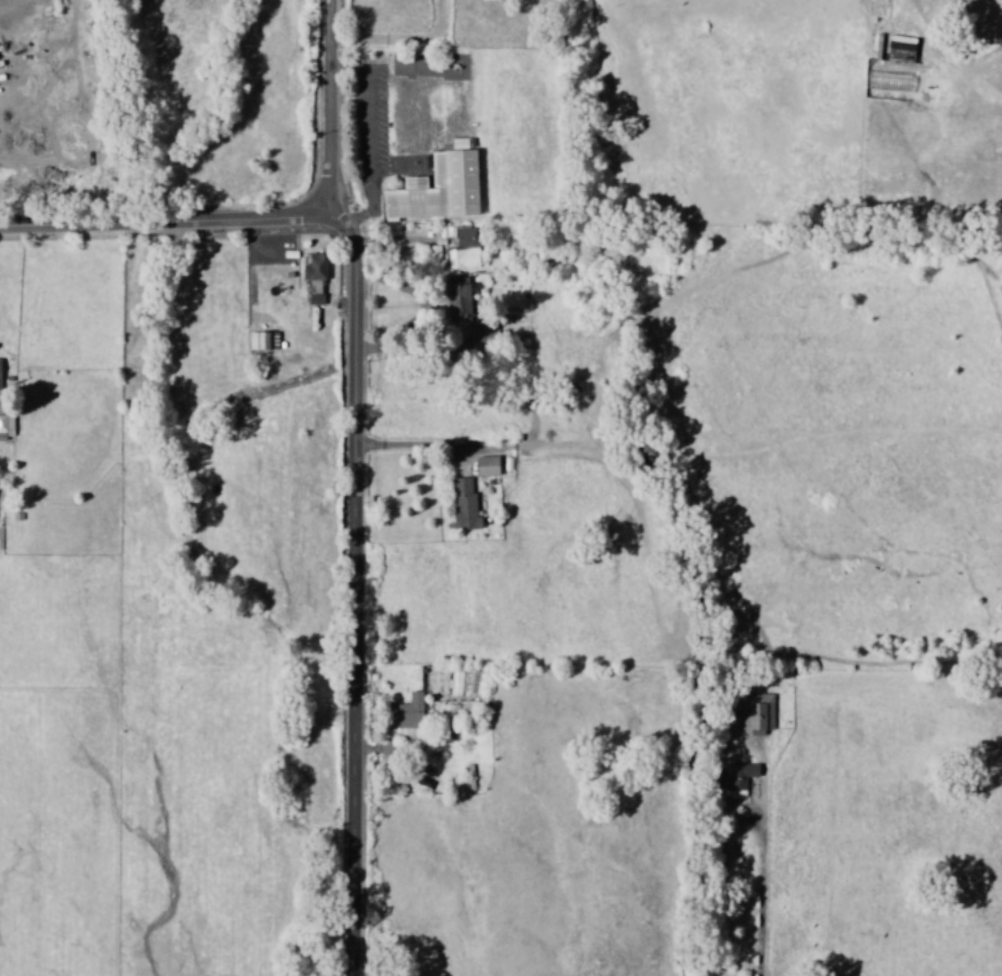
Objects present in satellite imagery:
road: (405, 40)
road: (334, 107)
building: (440, 188)
building: (464, 250)
building: (316, 267)
building: (317, 299)
building: (460, 300)
building: (264, 341)
building: (0, 376)
road: (358, 424)
building: (7, 427)
building: (489, 466)
building: (466, 505)
building: (758, 711)
building: (406, 717)
building: (744, 773)

